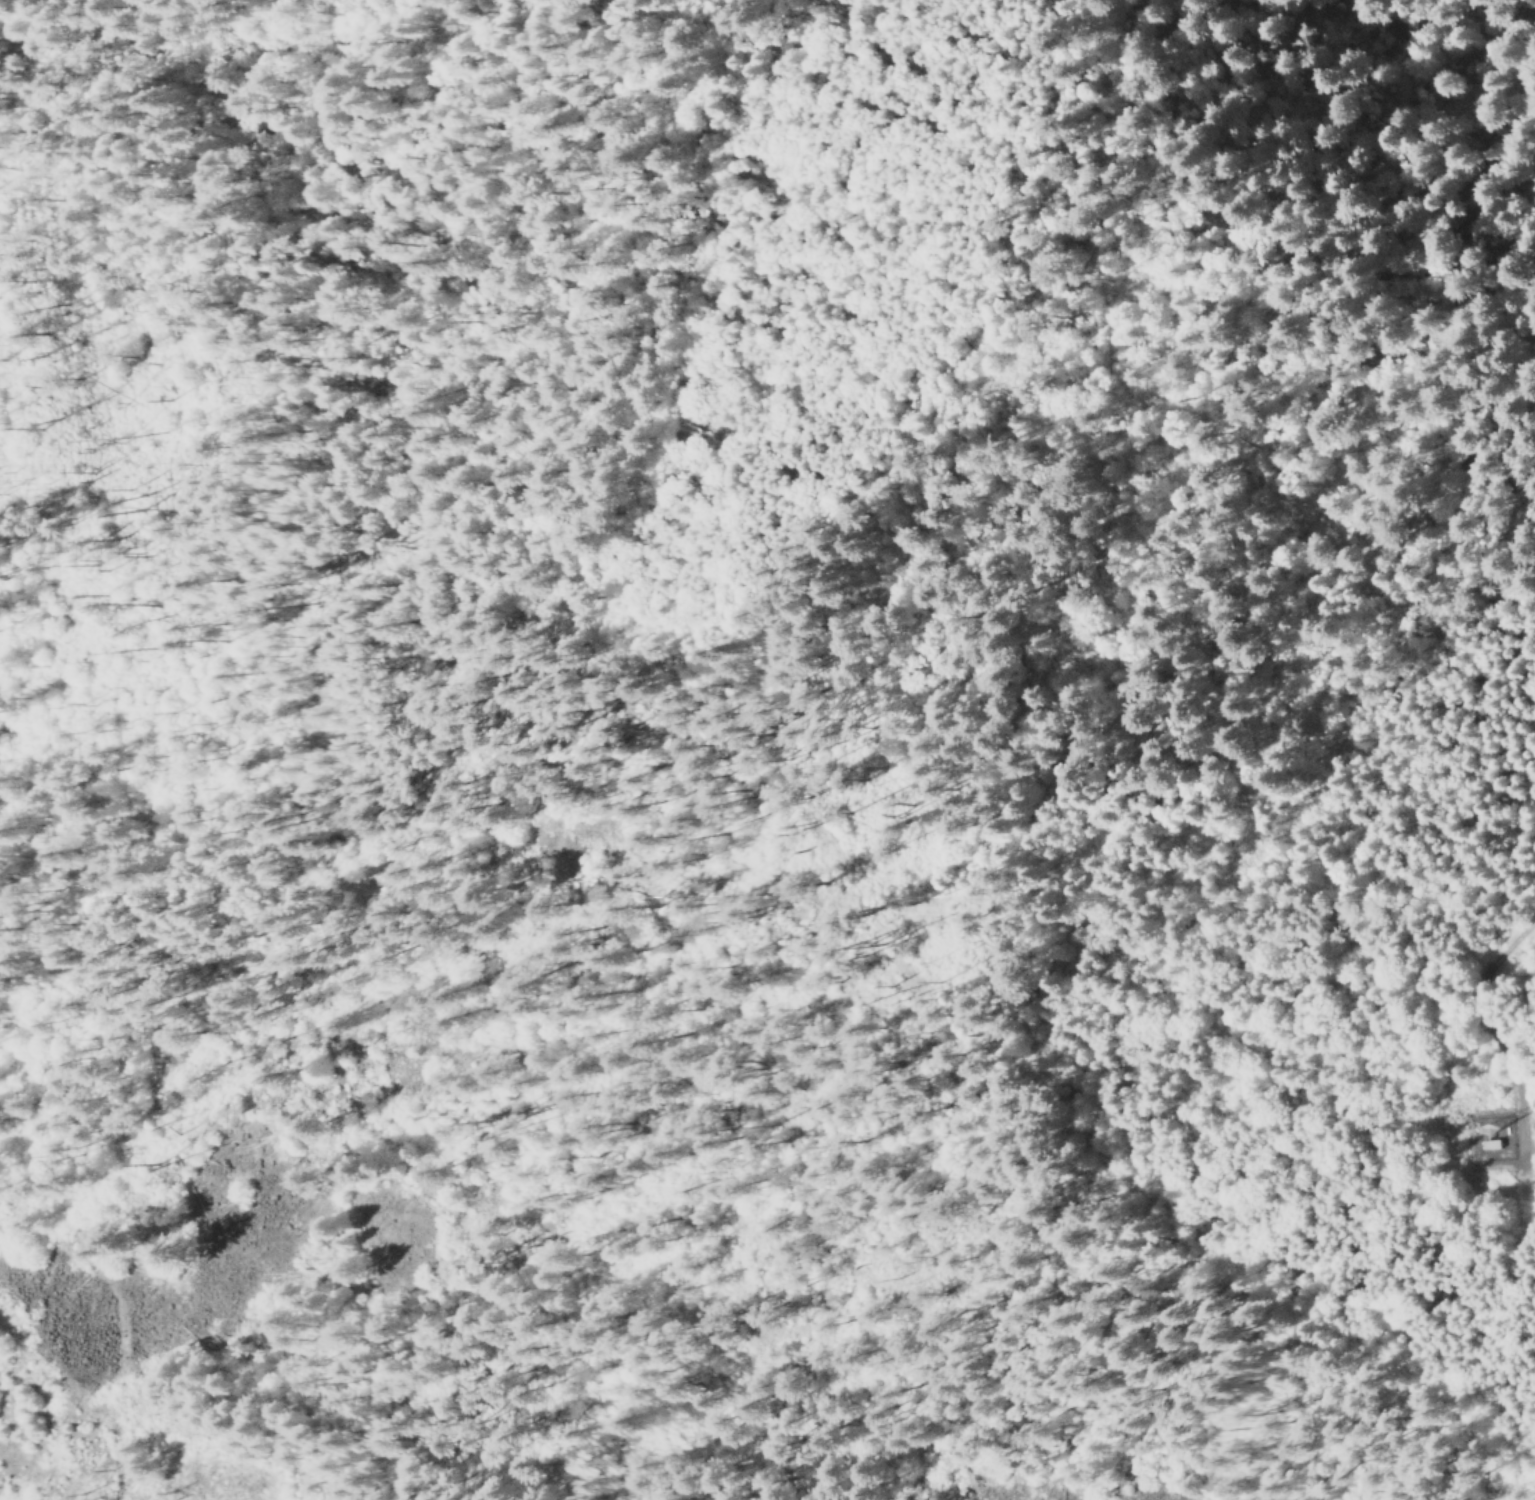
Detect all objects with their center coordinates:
road: (1485, 1010)

